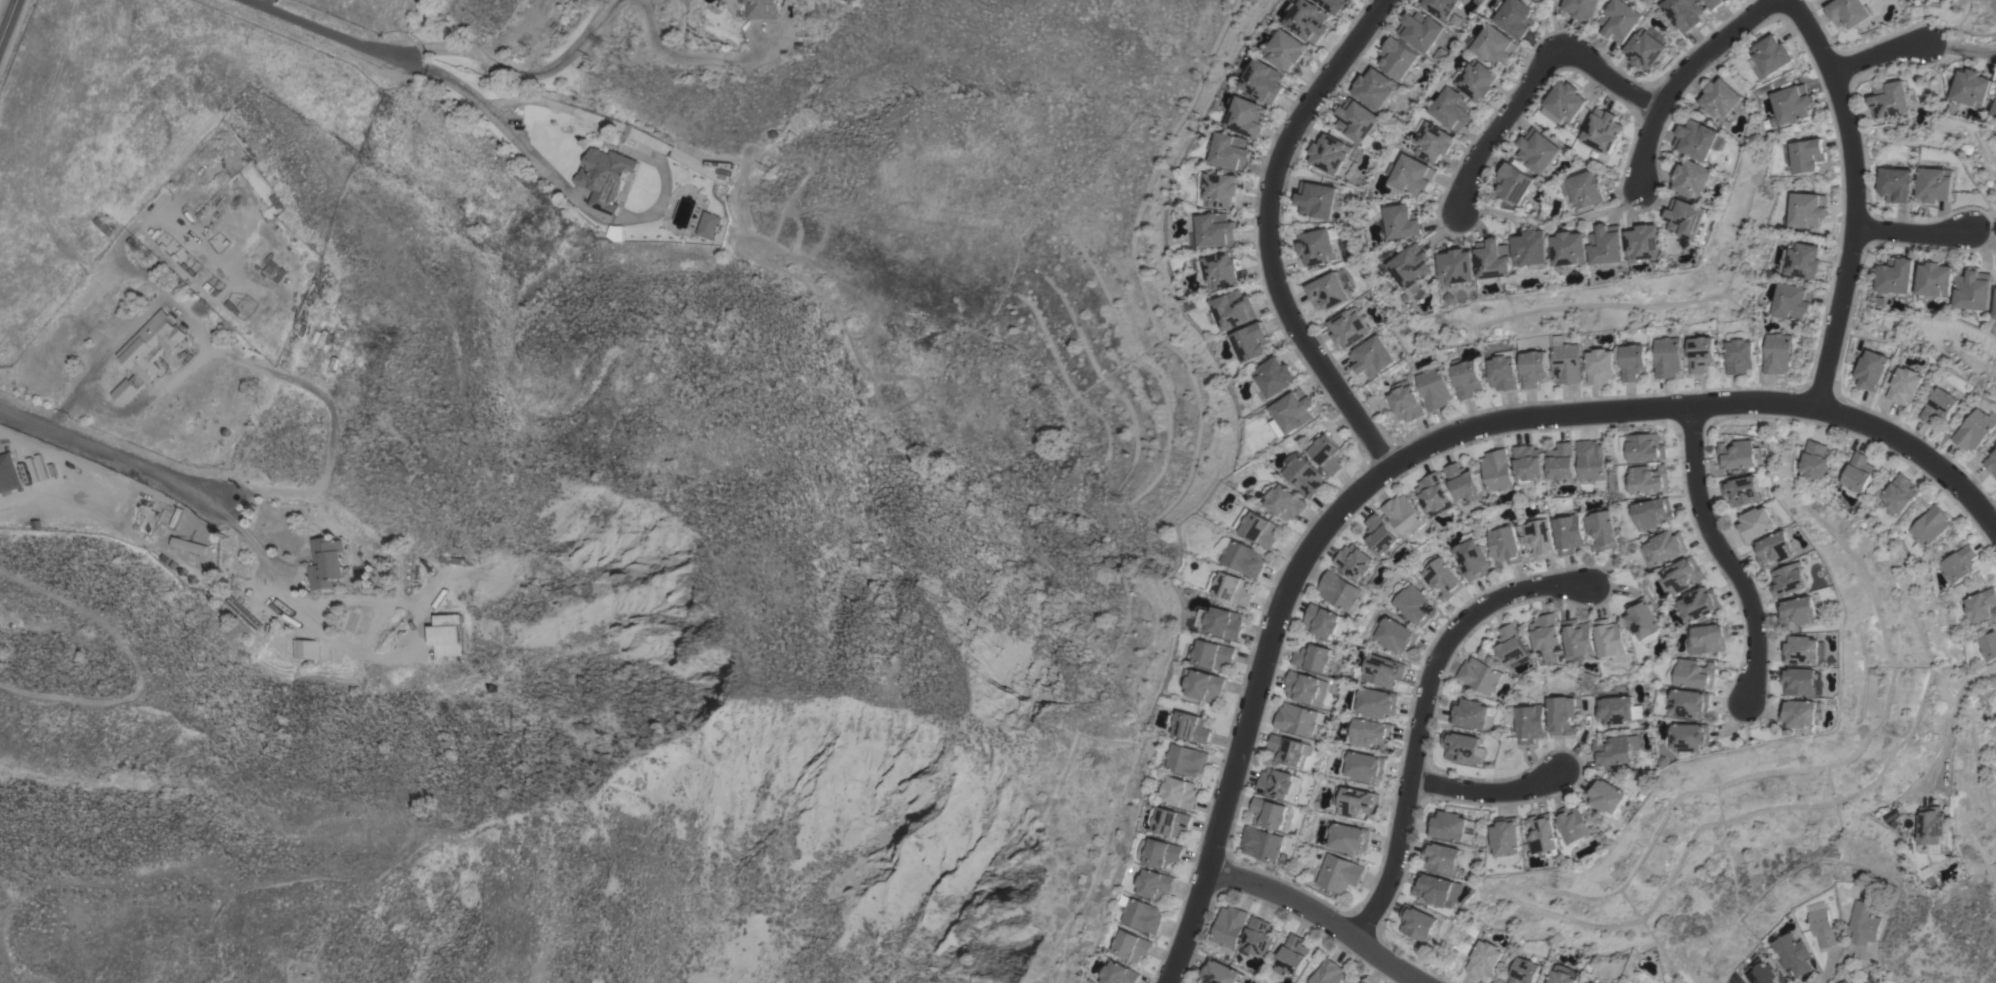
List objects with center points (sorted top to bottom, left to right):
building: (1536, 0)
building: (1714, 3)
building: (1335, 4)
building: (1440, 7)
road: (1802, 7)
building: (761, 8)
building: (1583, 8)
building: (1683, 12)
building: (1848, 12)
building: (1515, 16)
road: (7, 17)
building: (1309, 20)
building: (1620, 20)
building: (1420, 29)
building: (1493, 46)
building: (1287, 49)
building: (1645, 49)
road: (1878, 52)
road: (669, 54)
building: (1769, 56)
building: (1396, 57)
road: (428, 68)
road: (517, 71)
road: (1683, 75)
building: (1264, 80)
building: (1477, 80)
road: (1535, 81)
building: (1971, 87)
building: (1373, 88)
building: (1722, 98)
building: (1888, 99)
building: (1563, 103)
building: (1790, 104)
building: (1452, 108)
road: (1308, 110)
building: (1994, 111)
building: (1246, 116)
building: (1355, 119)
building: (1602, 129)
building: (1698, 139)
building: (1432, 141)
road: (523, 147)
building: (1229, 151)
building: (1538, 151)
building: (1329, 153)
building: (1803, 155)
building: (1411, 174)
building: (605, 177)
building: (1692, 178)
building: (1513, 183)
building: (1894, 183)
building: (1934, 184)
building: (1584, 189)
building: (1216, 190)
building: (1316, 199)
road: (1849, 199)
road: (1607, 209)
building: (1806, 209)
building: (1689, 219)
building: (1401, 221)
building: (103, 225)
building: (707, 225)
building: (1213, 230)
road: (1908, 233)
road: (1980, 239)
building: (1644, 242)
building: (1606, 244)
building: (1317, 245)
building: (1531, 248)
building: (1569, 248)
building: (1494, 258)
building: (1799, 260)
building: (1458, 266)
building: (1413, 267)
building: (1219, 268)
building: (272, 269)
building: (1896, 276)
building: (1935, 279)
building: (1329, 290)
building: (1973, 290)
building: (1787, 301)
building: (1233, 309)
building: (1995, 311)
building: (1348, 327)
building: (1251, 341)
building: (1737, 352)
building: (147, 353)
building: (1700, 353)
building: (1775, 353)
building: (1372, 356)
building: (1666, 356)
road: (1320, 358)
building: (1630, 361)
building: (1565, 363)
building: (1598, 365)
building: (1531, 367)
building: (1869, 370)
building: (1502, 372)
road: (285, 378)
building: (1272, 378)
building: (1466, 378)
building: (1903, 384)
building: (1433, 385)
road: (146, 398)
building: (1406, 401)
building: (1937, 405)
road: (62, 408)
building: (1291, 412)
building: (1973, 429)
road: (1432, 447)
building: (1642, 447)
building: (1326, 452)
building: (1740, 454)
building: (1815, 460)
building: (1562, 461)
building: (1592, 461)
building: (1991, 462)
building: (1527, 464)
building: (1496, 471)
building: (1303, 473)
building: (1857, 474)
building: (1646, 479)
building: (1461, 481)
road: (172, 483)
building: (1742, 490)
building: (1899, 493)
building: (1434, 494)
building: (1284, 500)
road: (1986, 507)
building: (1649, 513)
building: (1404, 515)
building: (1756, 523)
building: (1602, 528)
building: (1261, 529)
building: (1927, 529)
building: (1569, 533)
building: (1381, 534)
building: (1540, 536)
building: (1503, 542)
building: (1663, 547)
building: (1776, 547)
road: (1722, 553)
building: (1243, 556)
building: (1471, 556)
building: (454, 560)
building: (1355, 561)
building: (325, 562)
building: (1955, 565)
building: (1681, 574)
building: (1441, 576)
building: (1789, 579)
building: (1232, 587)
building: (1341, 592)
building: (1412, 602)
building: (1699, 603)
building: (1981, 605)
building: (1798, 611)
building: (242, 613)
building: (1644, 619)
building: (1324, 621)
building: (1223, 622)
road: (417, 629)
building: (1547, 633)
building: (446, 635)
building: (1394, 635)
building: (1610, 637)
building: (1708, 637)
building: (1579, 638)
building: (1511, 645)
building: (1986, 646)
building: (304, 649)
building: (1805, 650)
building: (1213, 654)
building: (1313, 657)
building: (1379, 669)
building: (1692, 673)
building: (1480, 675)
building: (1803, 681)
building: (1206, 685)
building: (1305, 687)
building: (1995, 698)
building: (1374, 701)
building: (1690, 703)
building: (1617, 709)
road: (1423, 711)
building: (1802, 713)
building: (1473, 714)
building: (1561, 715)
building: (1298, 718)
road: (1952, 718)
building: (1529, 723)
building: (1189, 726)
building: (1369, 733)
building: (1690, 737)
building: (1463, 747)
building: (1289, 749)
building: (1615, 750)
building: (1183, 760)
building: (1363, 765)
building: (1279, 783)
building: (1177, 792)
road: (1484, 792)
building: (1607, 795)
building: (1355, 801)
building: (1269, 812)
building: (1167, 820)
building: (1447, 825)
building: (1577, 825)
building: (1933, 830)
building: (1545, 835)
building: (1346, 837)
building: (1508, 839)
building: (1263, 843)
building: (1157, 852)
building: (1441, 857)
building: (1338, 873)
building: (1154, 884)
building: (1434, 888)
building: (1139, 914)
road: (1320, 918)
building: (1863, 921)
building: (1418, 922)
building: (1822, 925)
building: (1229, 926)
building: (1257, 936)
building: (1130, 945)
building: (1788, 952)
building: (1292, 955)
building: (1484, 958)
road: (1837, 964)
building: (1523, 971)
building: (1328, 972)
building: (1758, 972)
building: (1118, 973)
building: (1221, 973)
building: (1562, 974)
building: (1843, 981)
building: (1084, 982)
building: (1361, 982)
building: (1590, 982)

